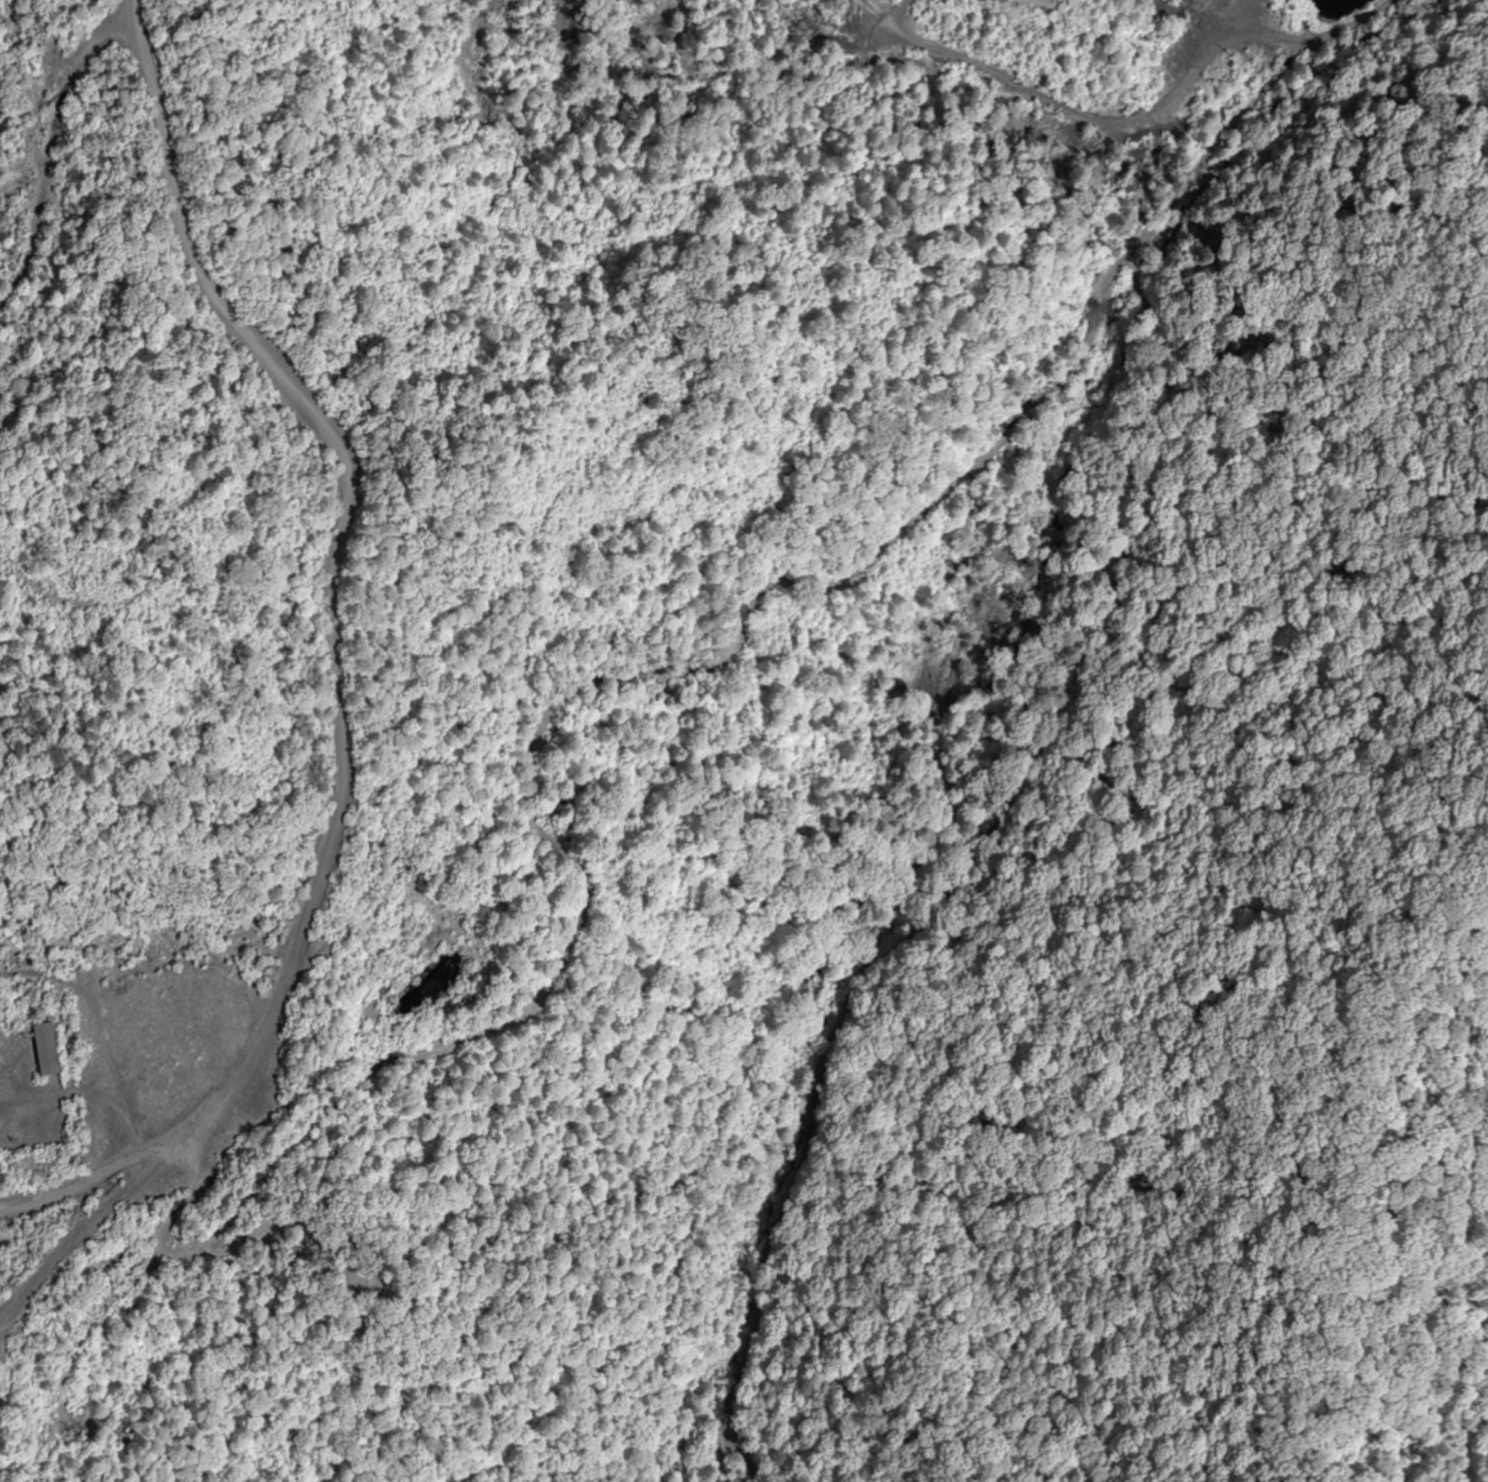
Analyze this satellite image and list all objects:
road: (969, 764)
building: (79, 1011)
building: (42, 1049)

